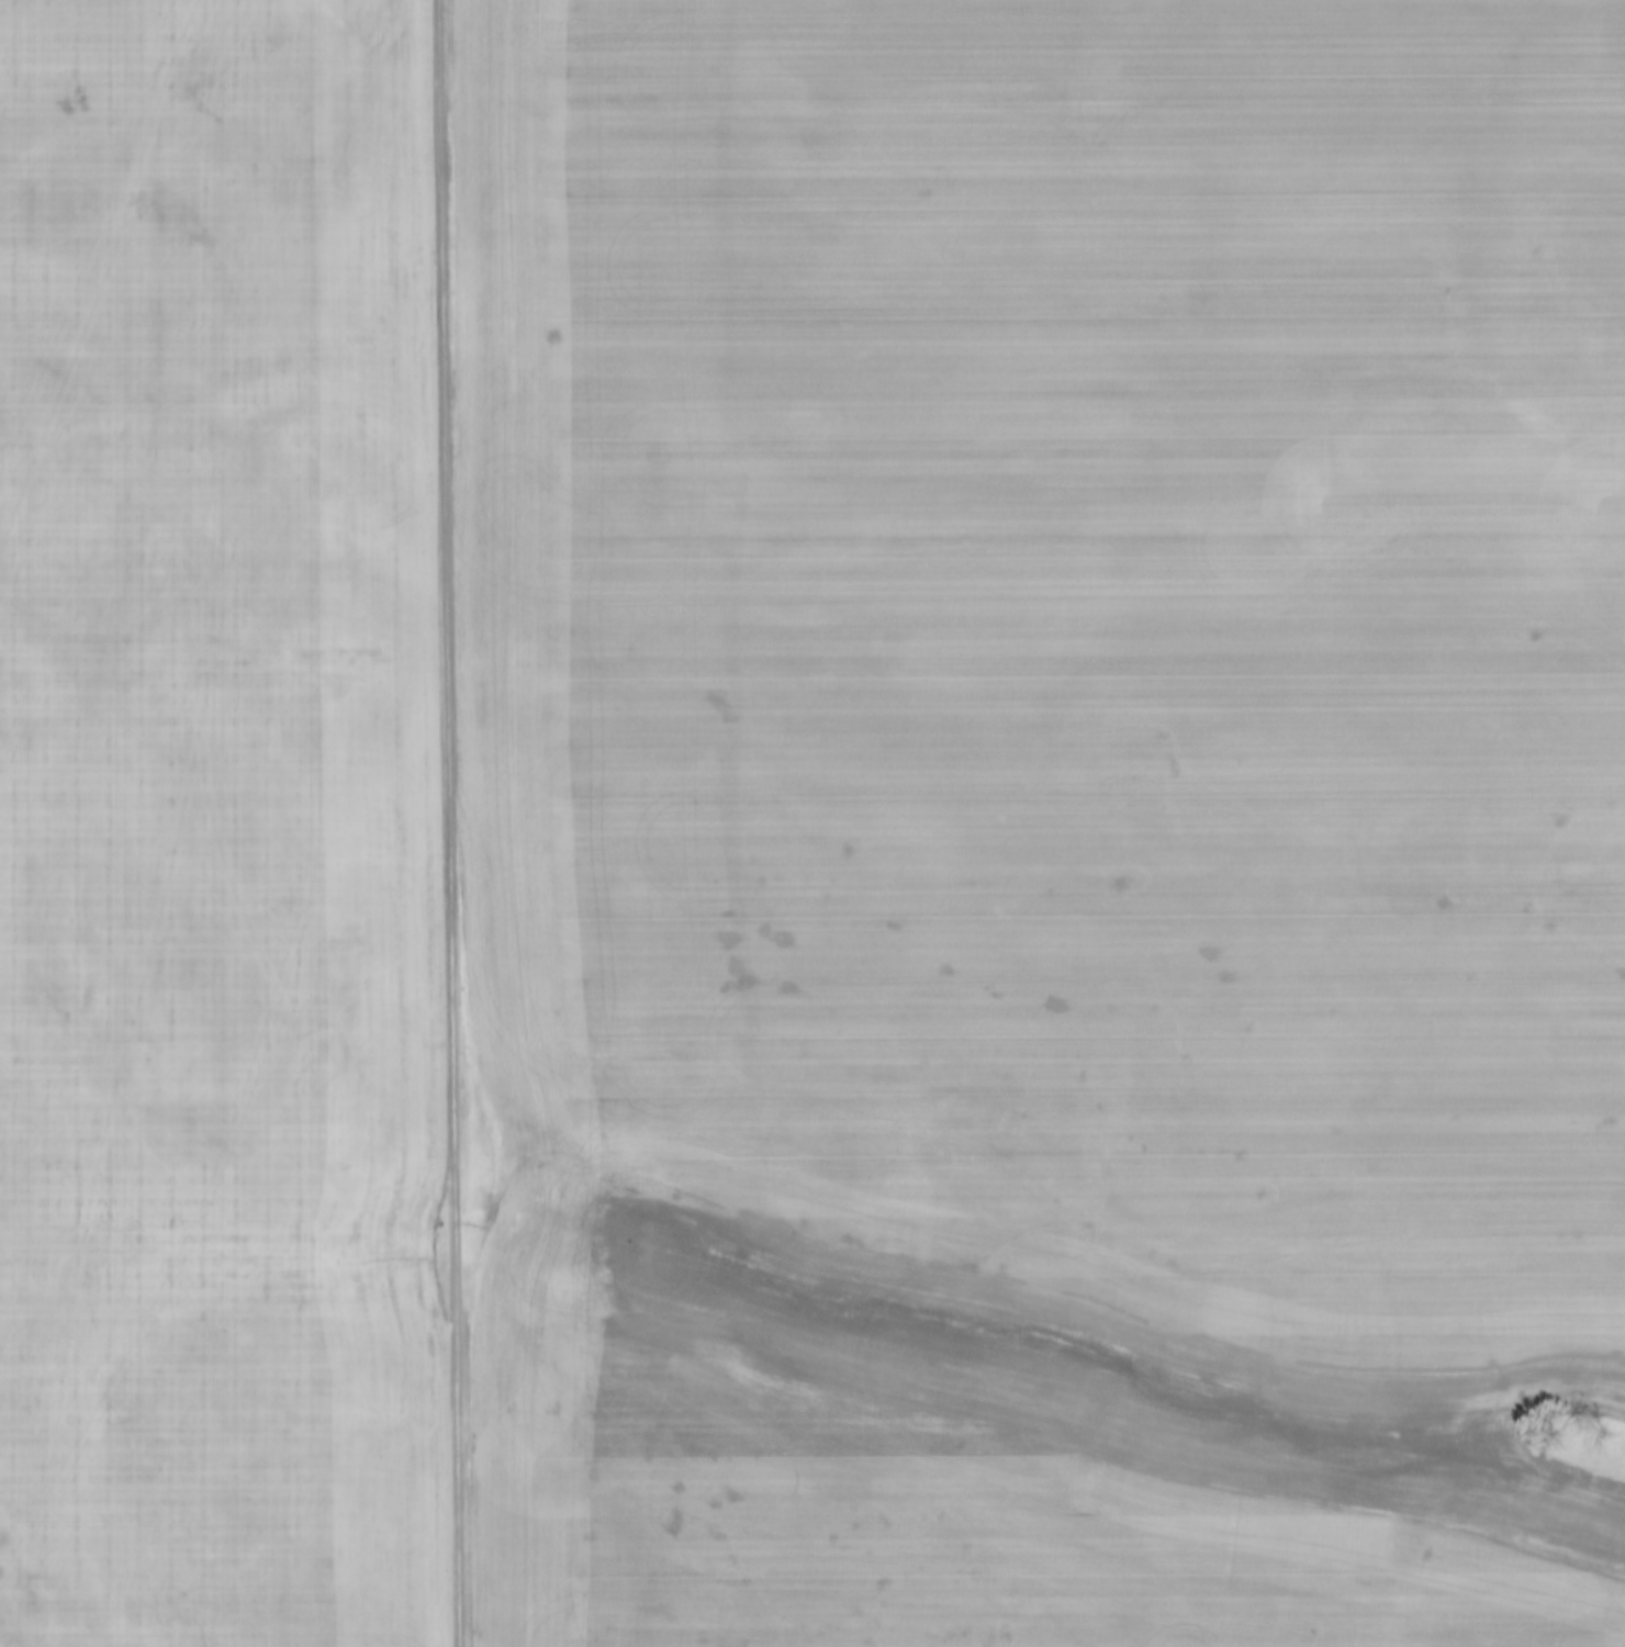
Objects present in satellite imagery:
road: (452, 822)

